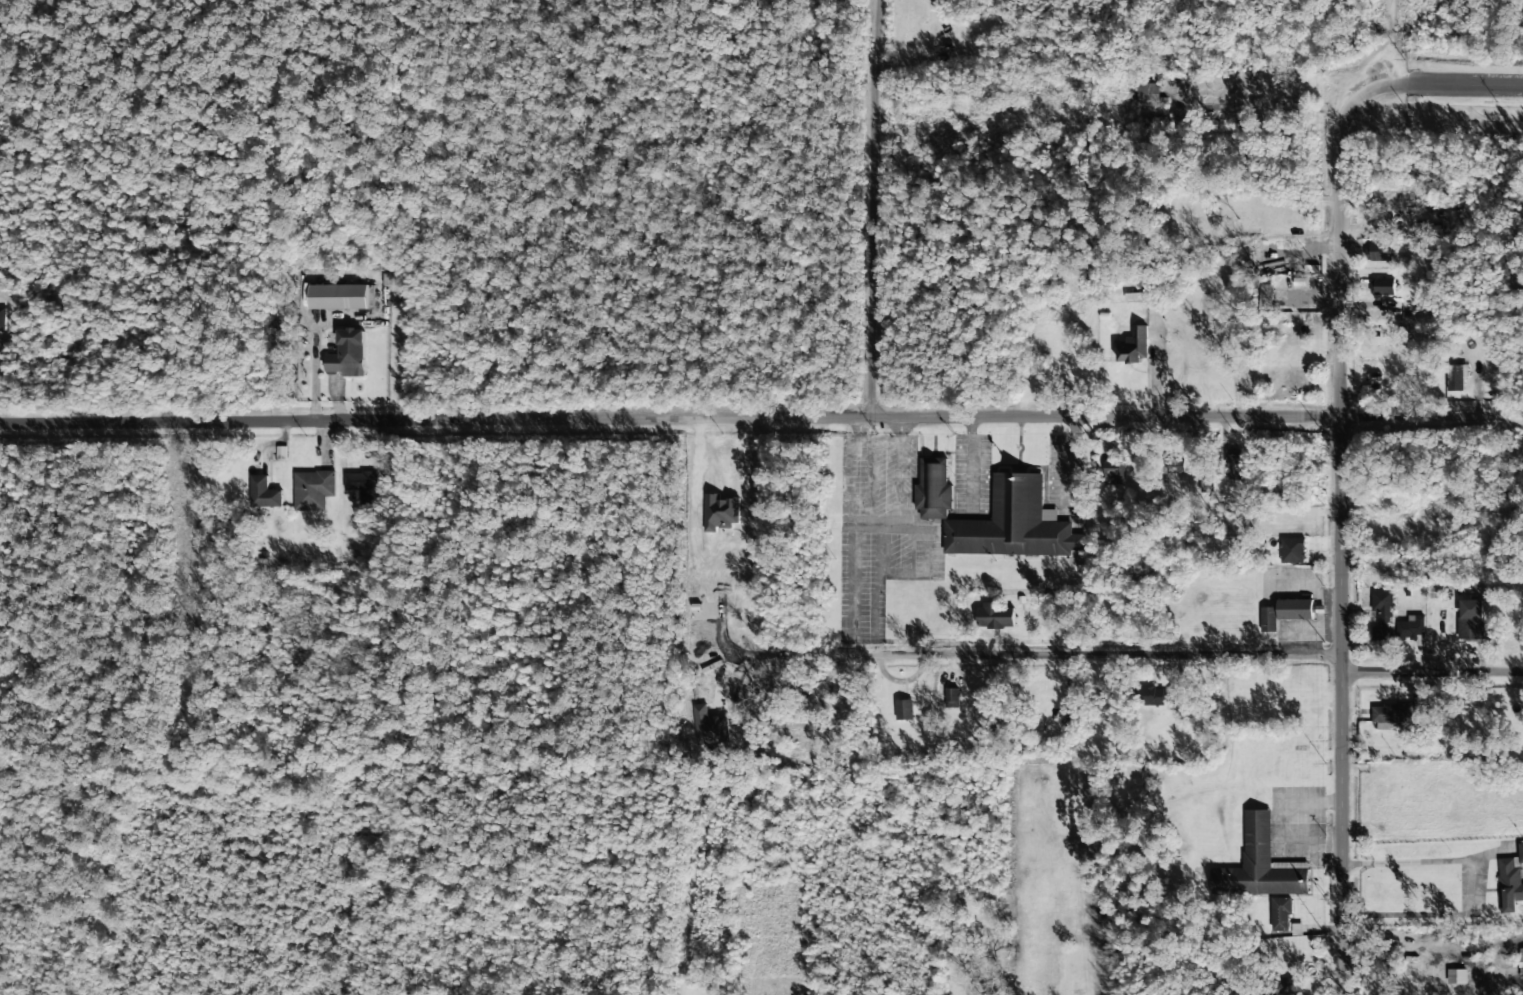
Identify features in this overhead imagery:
road: (1480, 79)
building: (1148, 95)
road: (37, 171)
road: (860, 211)
building: (1375, 251)
building: (1382, 286)
building: (1265, 296)
building: (338, 297)
building: (2, 321)
building: (1133, 345)
building: (348, 354)
building: (1455, 377)
road: (761, 422)
building: (1232, 466)
building: (1114, 473)
building: (358, 481)
building: (933, 489)
building: (313, 490)
building: (263, 493)
road: (1341, 502)
building: (1014, 523)
building: (1292, 550)
building: (1294, 609)
building: (1382, 615)
building: (996, 616)
building: (1268, 619)
building: (1470, 619)
building: (1411, 628)
road: (1062, 659)
road: (1432, 675)
building: (1159, 697)
building: (952, 698)
building: (903, 710)
building: (1395, 714)
building: (705, 729)
building: (1520, 853)
building: (1260, 865)
building: (1508, 885)
building: (1279, 915)
building: (1521, 964)
building: (1290, 985)

